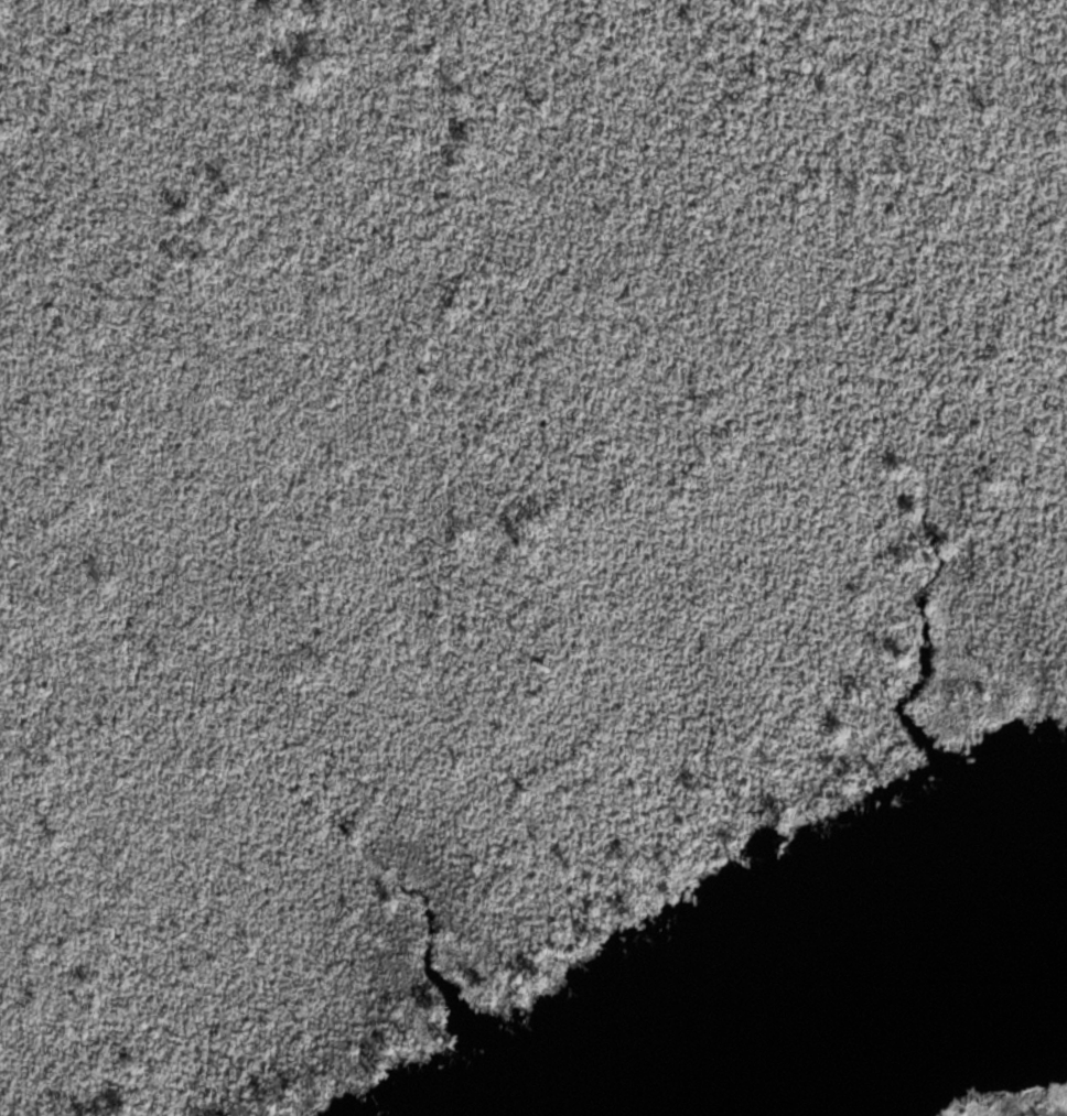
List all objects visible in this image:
river: (862, 990)

